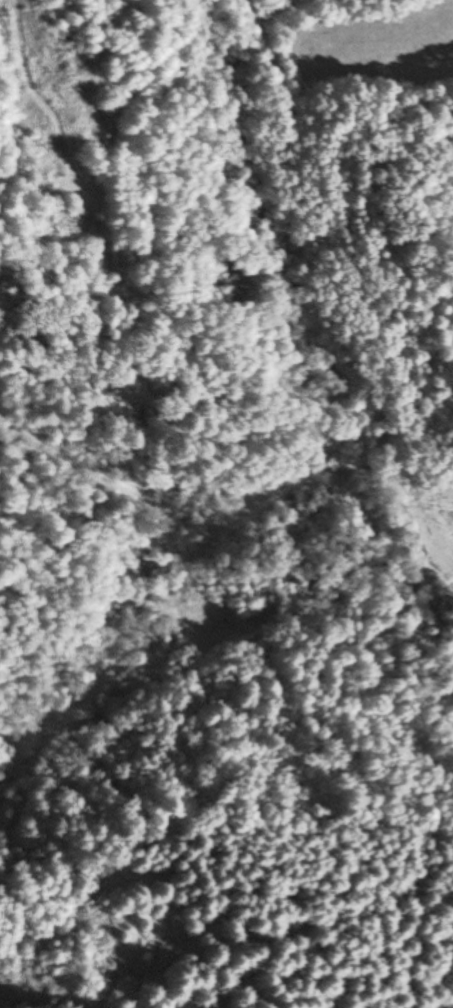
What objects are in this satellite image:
crop: (425, 521)

